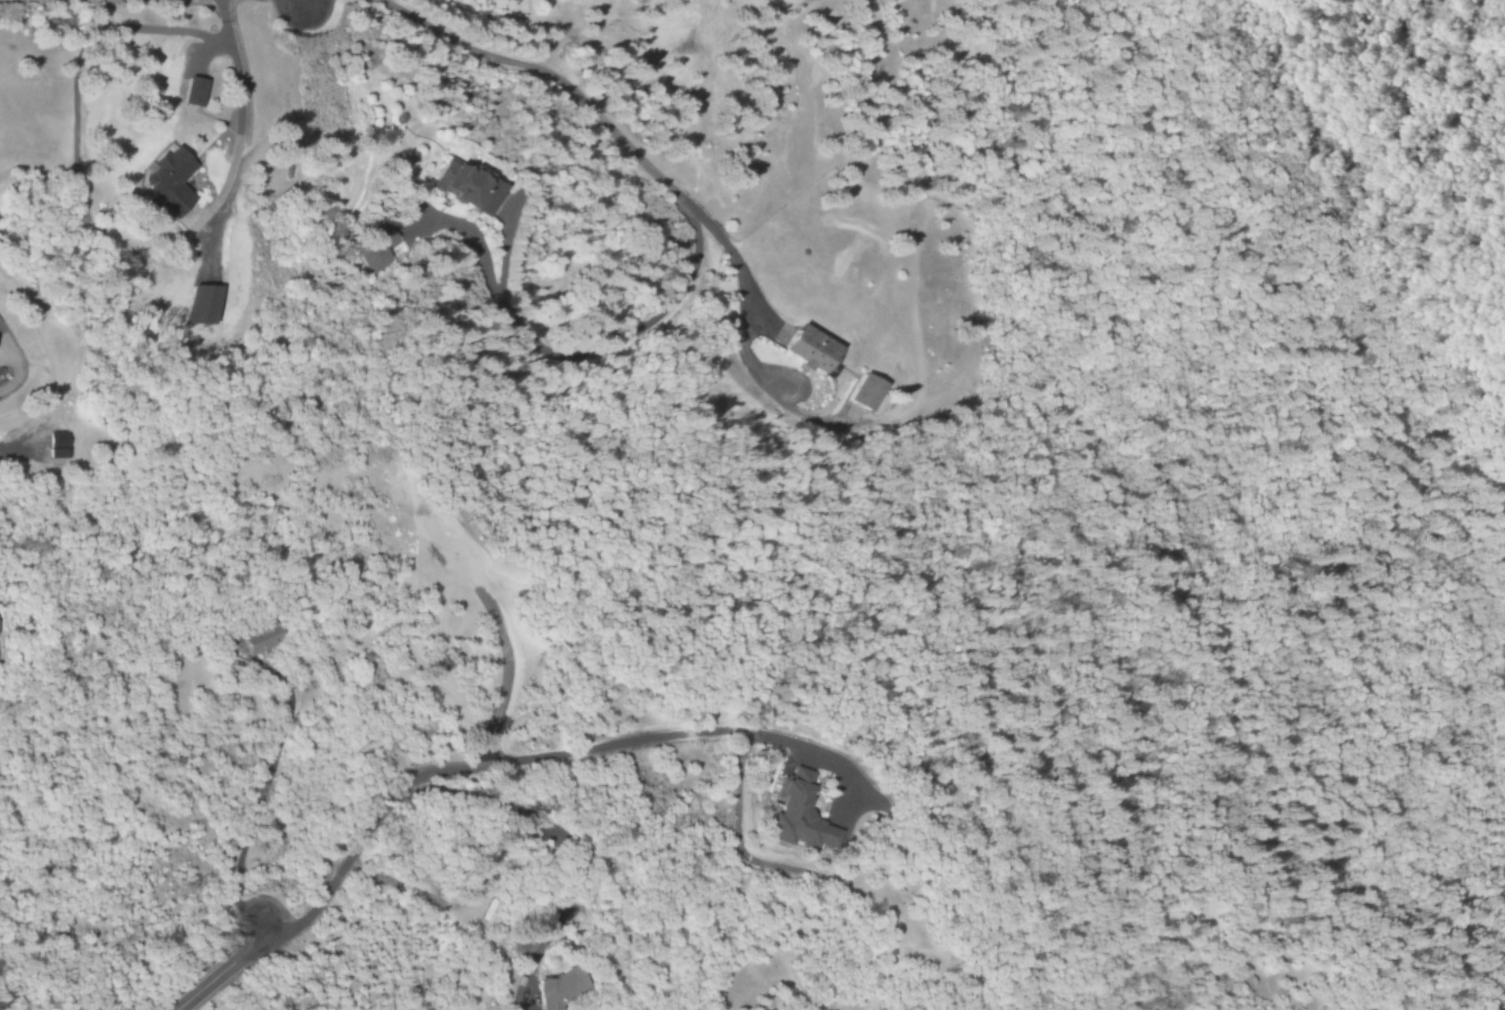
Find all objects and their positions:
building: (191, 92)
building: (164, 181)
building: (462, 186)
building: (375, 250)
building: (204, 305)
building: (807, 350)
building: (864, 395)
building: (55, 445)
building: (255, 642)
building: (796, 817)
road: (216, 972)
building: (554, 988)

